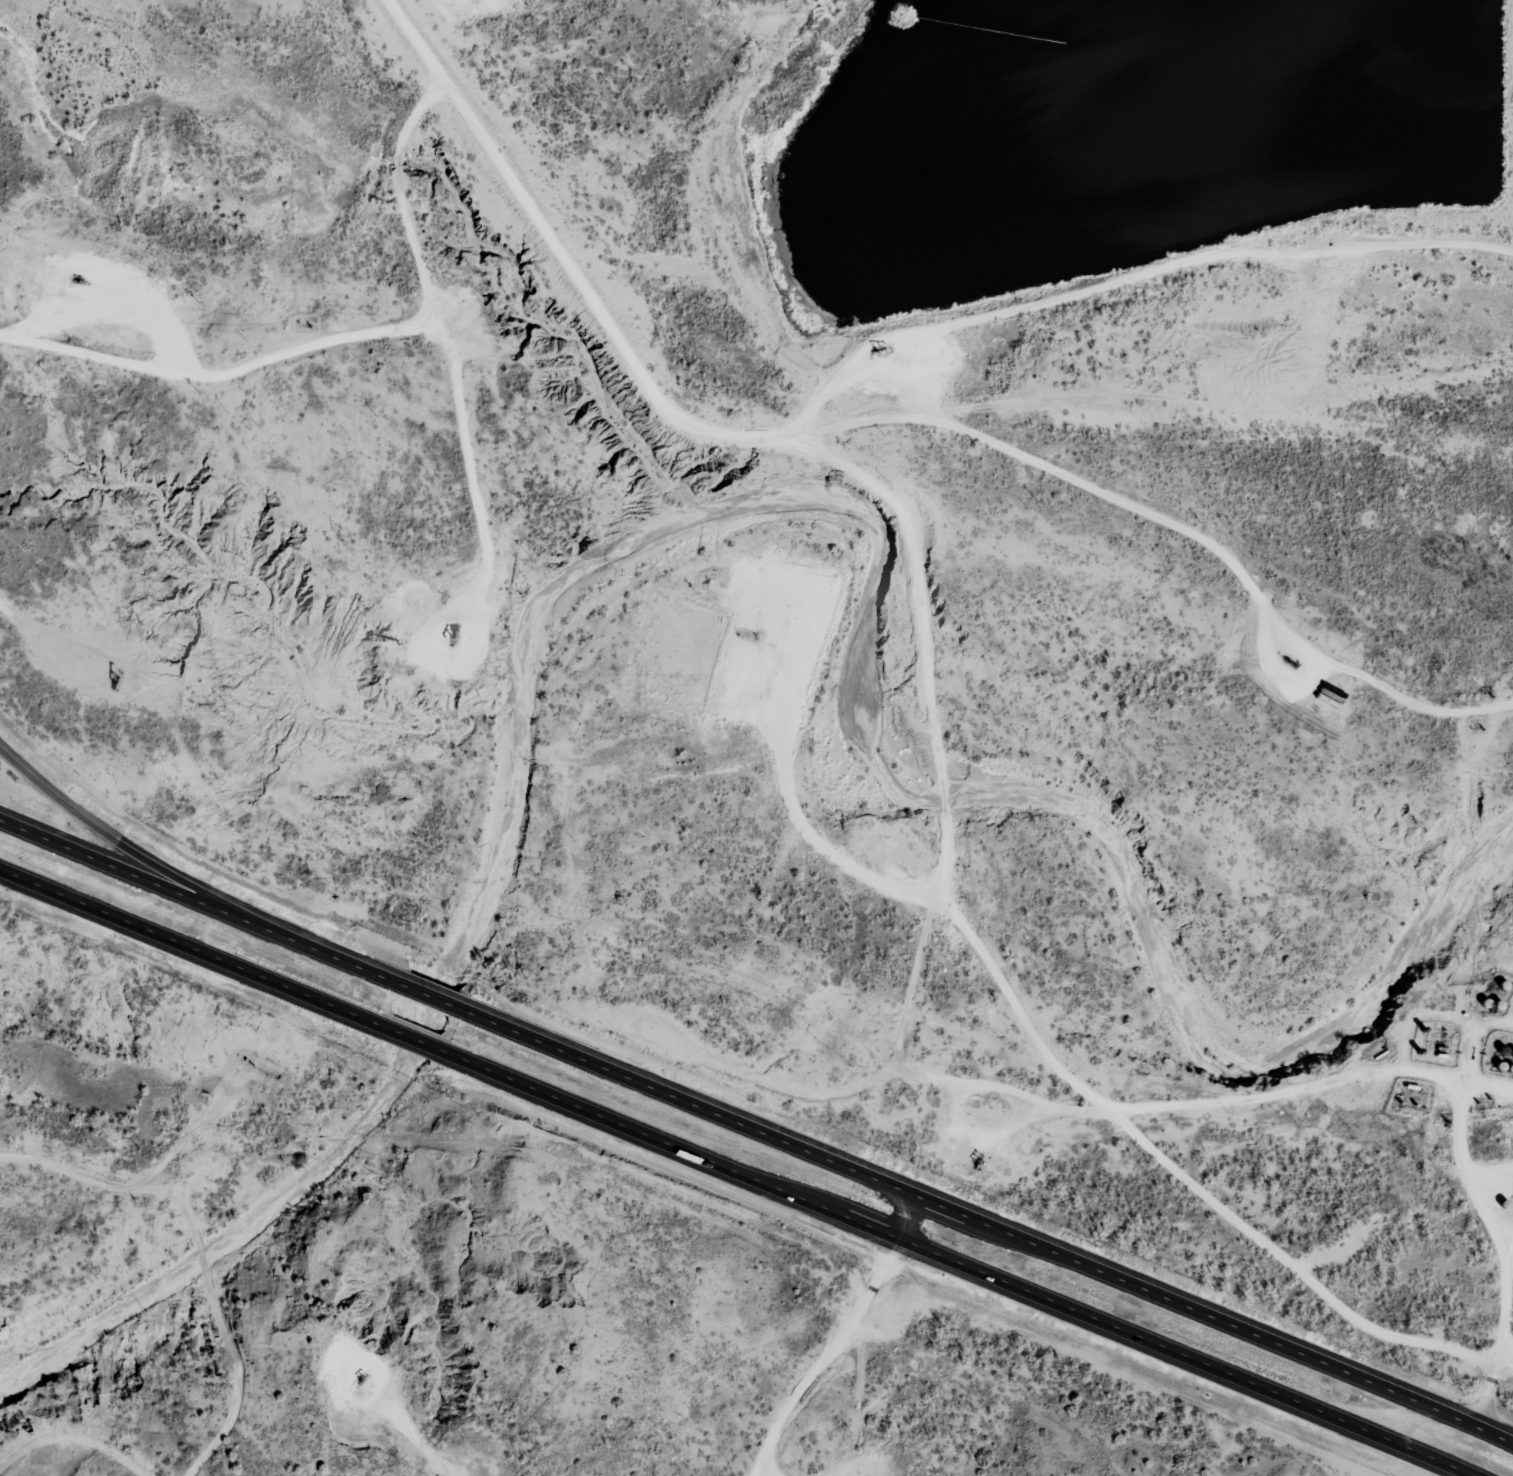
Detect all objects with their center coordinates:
road: (1128, 278)
building: (305, 322)
road: (337, 339)
road: (684, 425)
road: (1176, 530)
road: (45, 637)
road: (945, 801)
road: (92, 829)
road: (190, 894)
road: (180, 943)
road: (427, 993)
road: (406, 1035)
road: (885, 1070)
road: (1312, 1084)
road: (1001, 1090)
road: (1187, 1180)
road: (114, 1185)
road: (995, 1224)
road: (203, 1260)
road: (962, 1265)
road: (1504, 1296)
road: (842, 1340)
road: (236, 1382)
road: (72, 1439)

